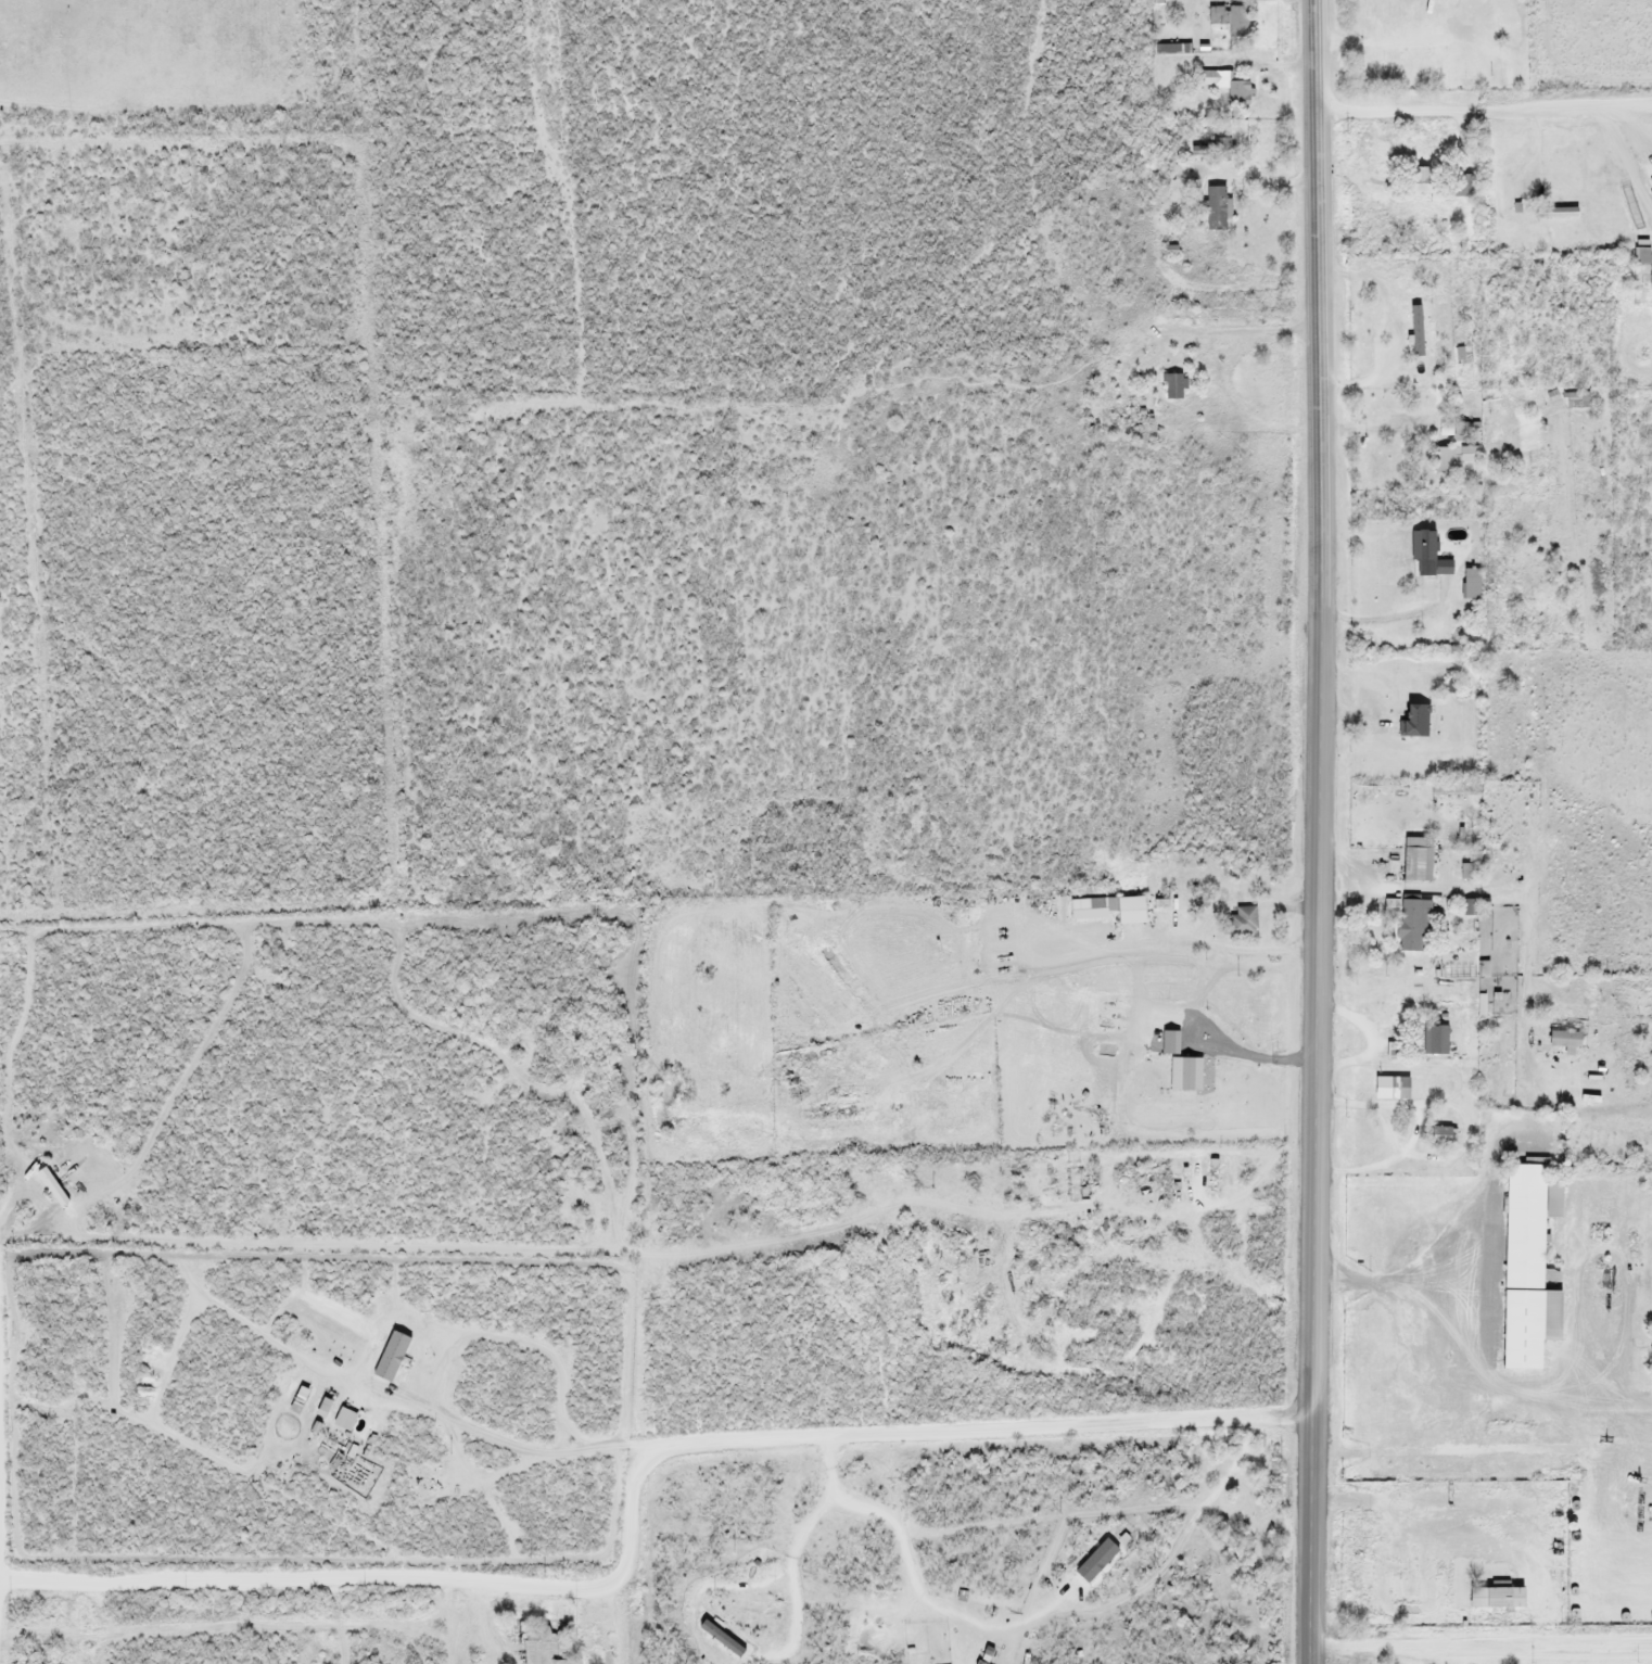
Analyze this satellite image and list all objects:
building: (1227, 86)
road: (1483, 107)
building: (1220, 149)
building: (1424, 180)
building: (1463, 185)
building: (1213, 207)
building: (1553, 213)
building: (1643, 263)
building: (1172, 386)
building: (1579, 398)
building: (1461, 431)
building: (1452, 458)
building: (1428, 559)
building: (1470, 583)
building: (1412, 721)
building: (1453, 788)
road: (1317, 831)
building: (1414, 859)
building: (1467, 871)
building: (1111, 907)
building: (1238, 920)
building: (1412, 922)
building: (1435, 1041)
building: (1563, 1041)
building: (1648, 1051)
building: (1389, 1088)
building: (1443, 1135)
building: (1211, 1176)
building: (1526, 1267)
road: (632, 1494)
building: (1492, 1597)
road: (1481, 1643)
building: (545, 1646)

